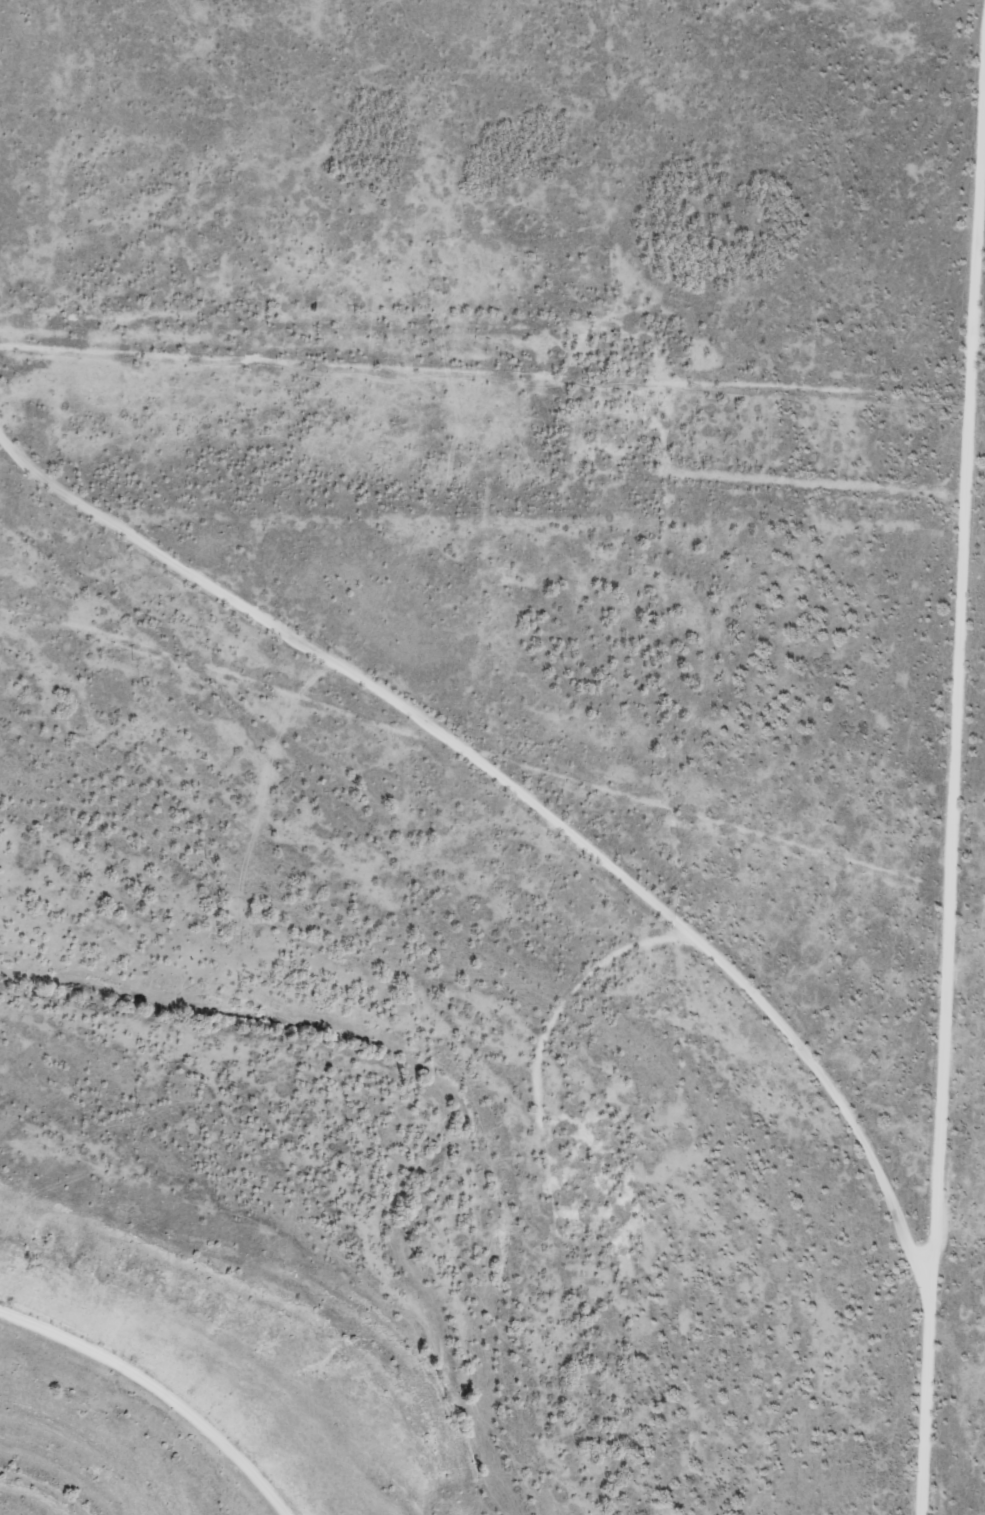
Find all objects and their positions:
road: (512, 748)
road: (980, 1168)
road: (976, 1348)
road: (144, 1404)

